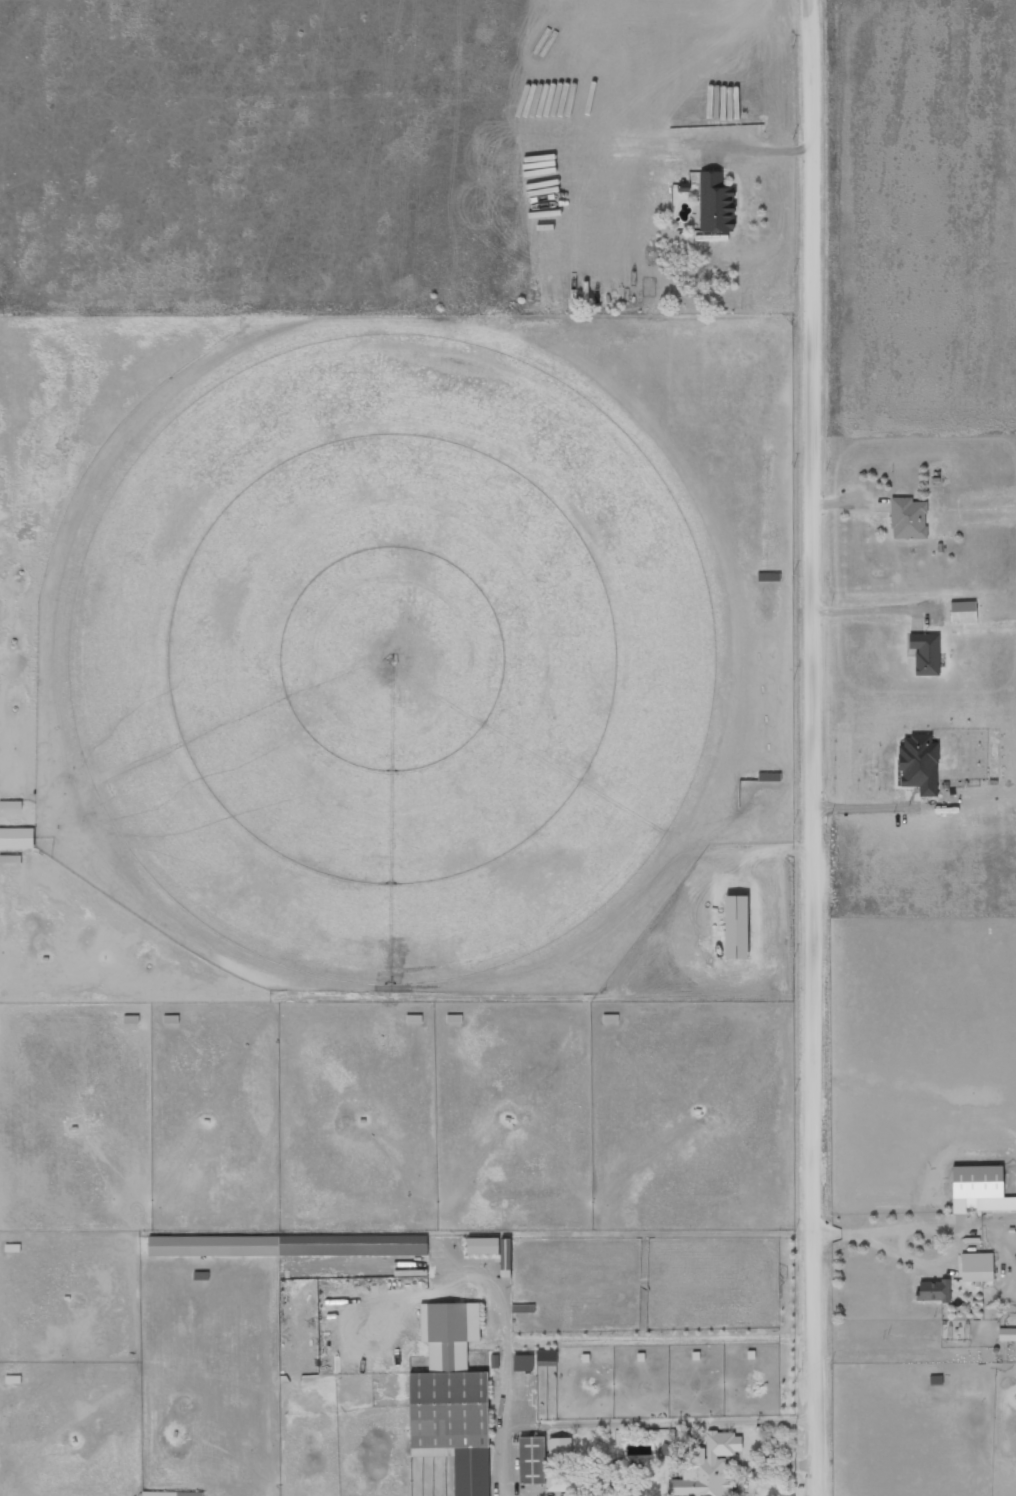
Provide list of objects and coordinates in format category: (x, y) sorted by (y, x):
building: (716, 204)
building: (908, 519)
crop: (395, 647)
building: (926, 654)
road: (812, 747)
building: (17, 838)
building: (734, 928)
building: (980, 1189)
building: (353, 1246)
building: (483, 1246)
building: (506, 1255)
building: (976, 1268)
building: (934, 1291)
building: (546, 1358)
building: (523, 1363)
building: (452, 1398)
building: (532, 1461)
building: (708, 1467)
building: (591, 1492)

